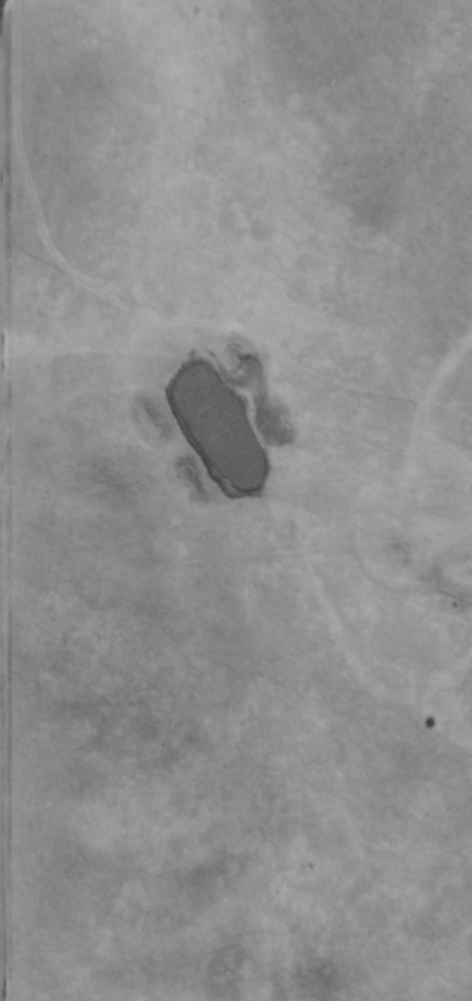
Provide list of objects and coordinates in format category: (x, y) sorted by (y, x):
road: (5, 500)

